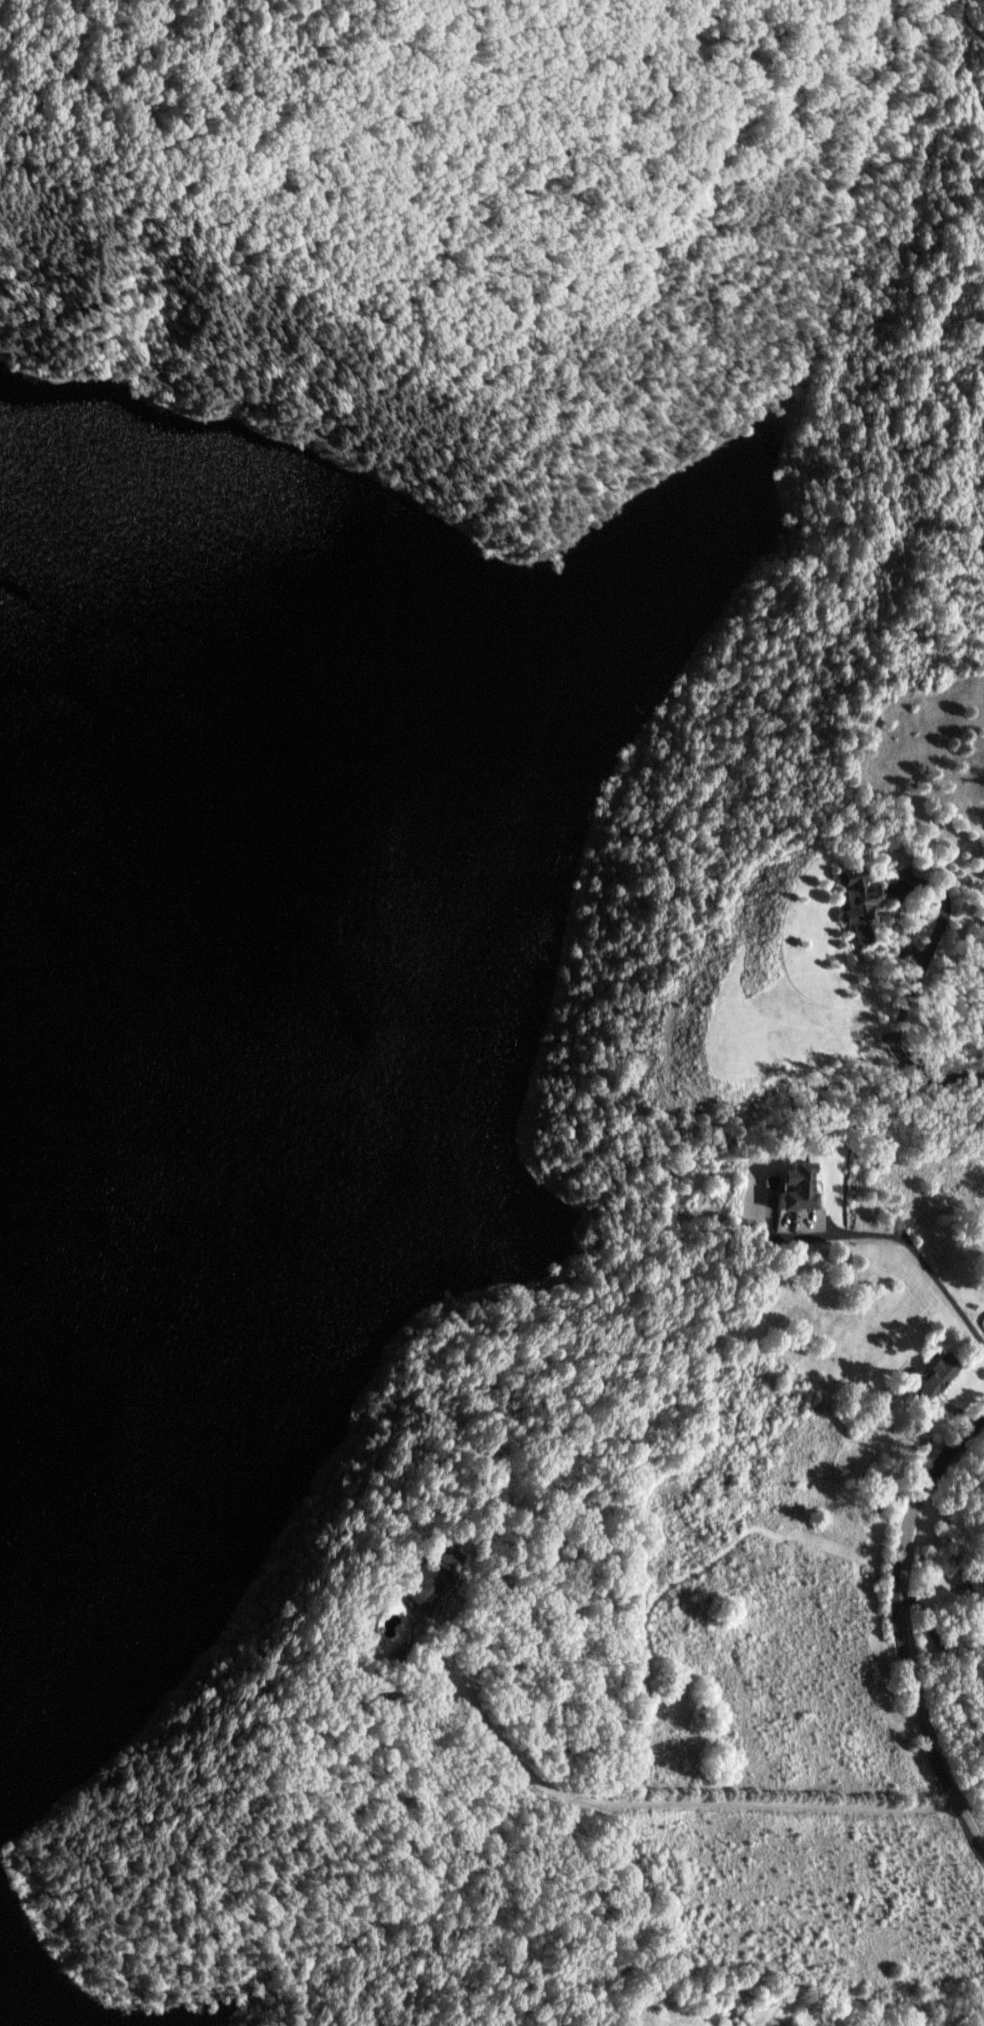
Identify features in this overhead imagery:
building: (850, 903)
river: (142, 966)
building: (788, 1187)
road: (911, 1250)
building: (928, 1379)
building: (425, 1579)
building: (971, 1589)
road: (903, 1631)
road: (463, 1693)
road: (775, 1810)

